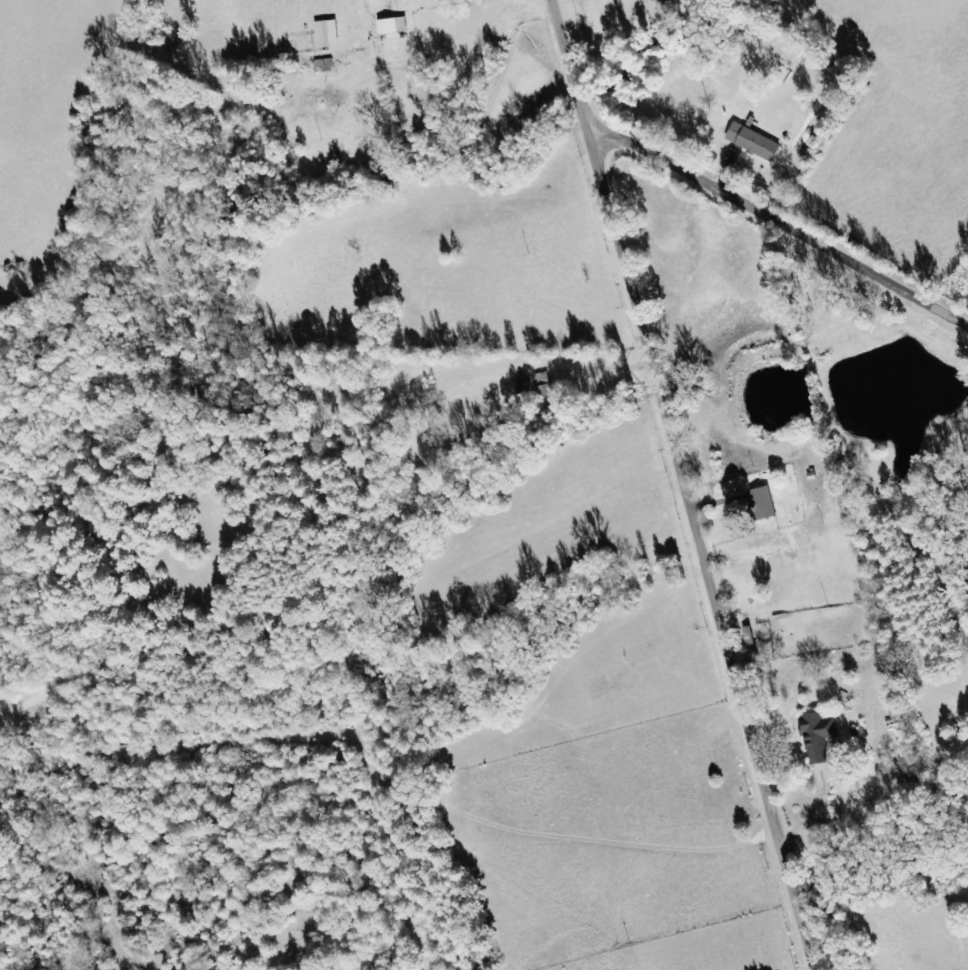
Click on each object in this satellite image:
building: (394, 26)
road: (571, 59)
building: (755, 142)
road: (777, 224)
building: (540, 392)
building: (762, 504)
road: (699, 544)
building: (819, 736)

